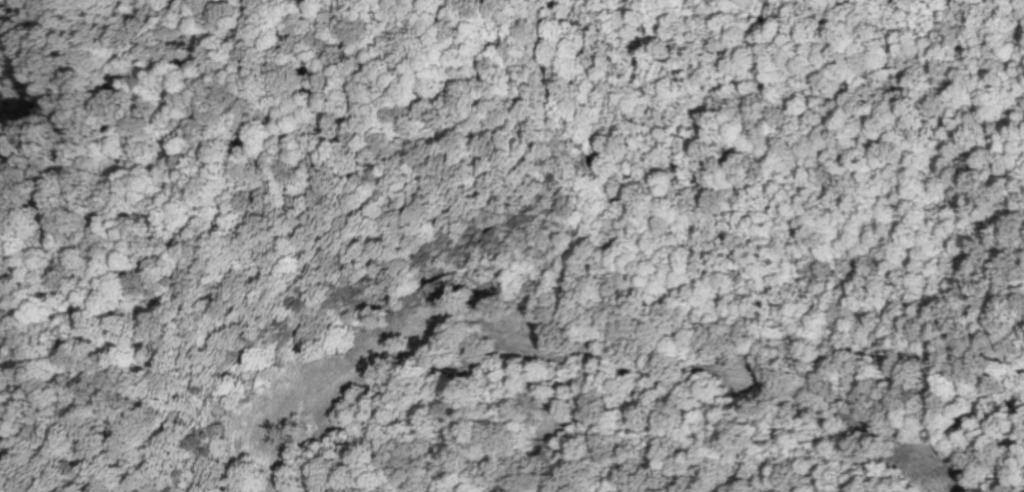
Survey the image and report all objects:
road: (407, 12)
road: (1, 80)
road: (17, 112)
road: (271, 210)

